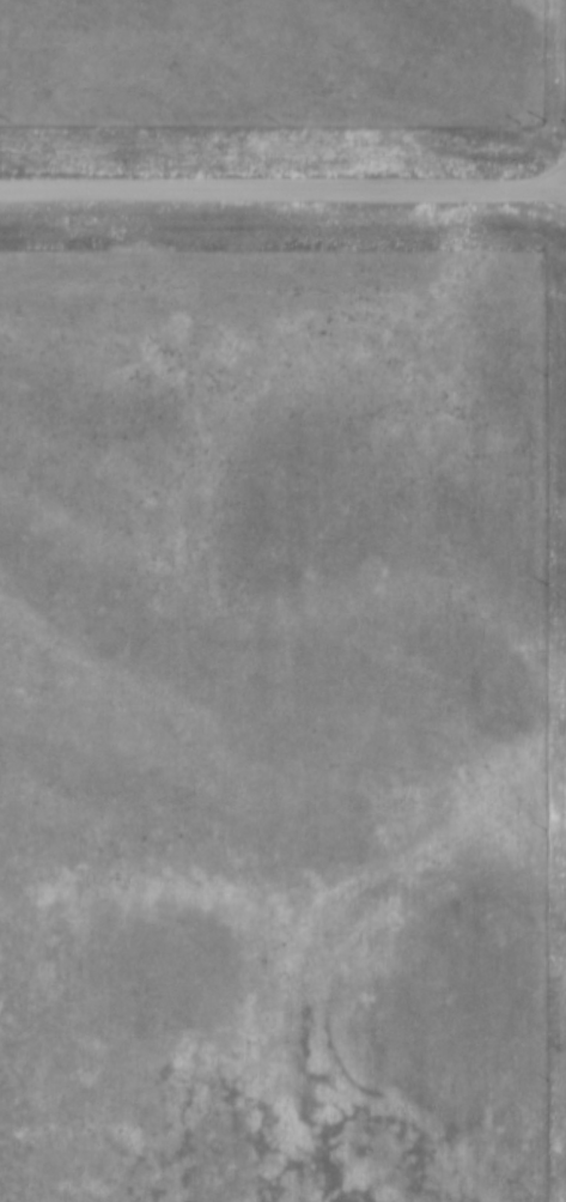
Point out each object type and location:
road: (282, 192)

